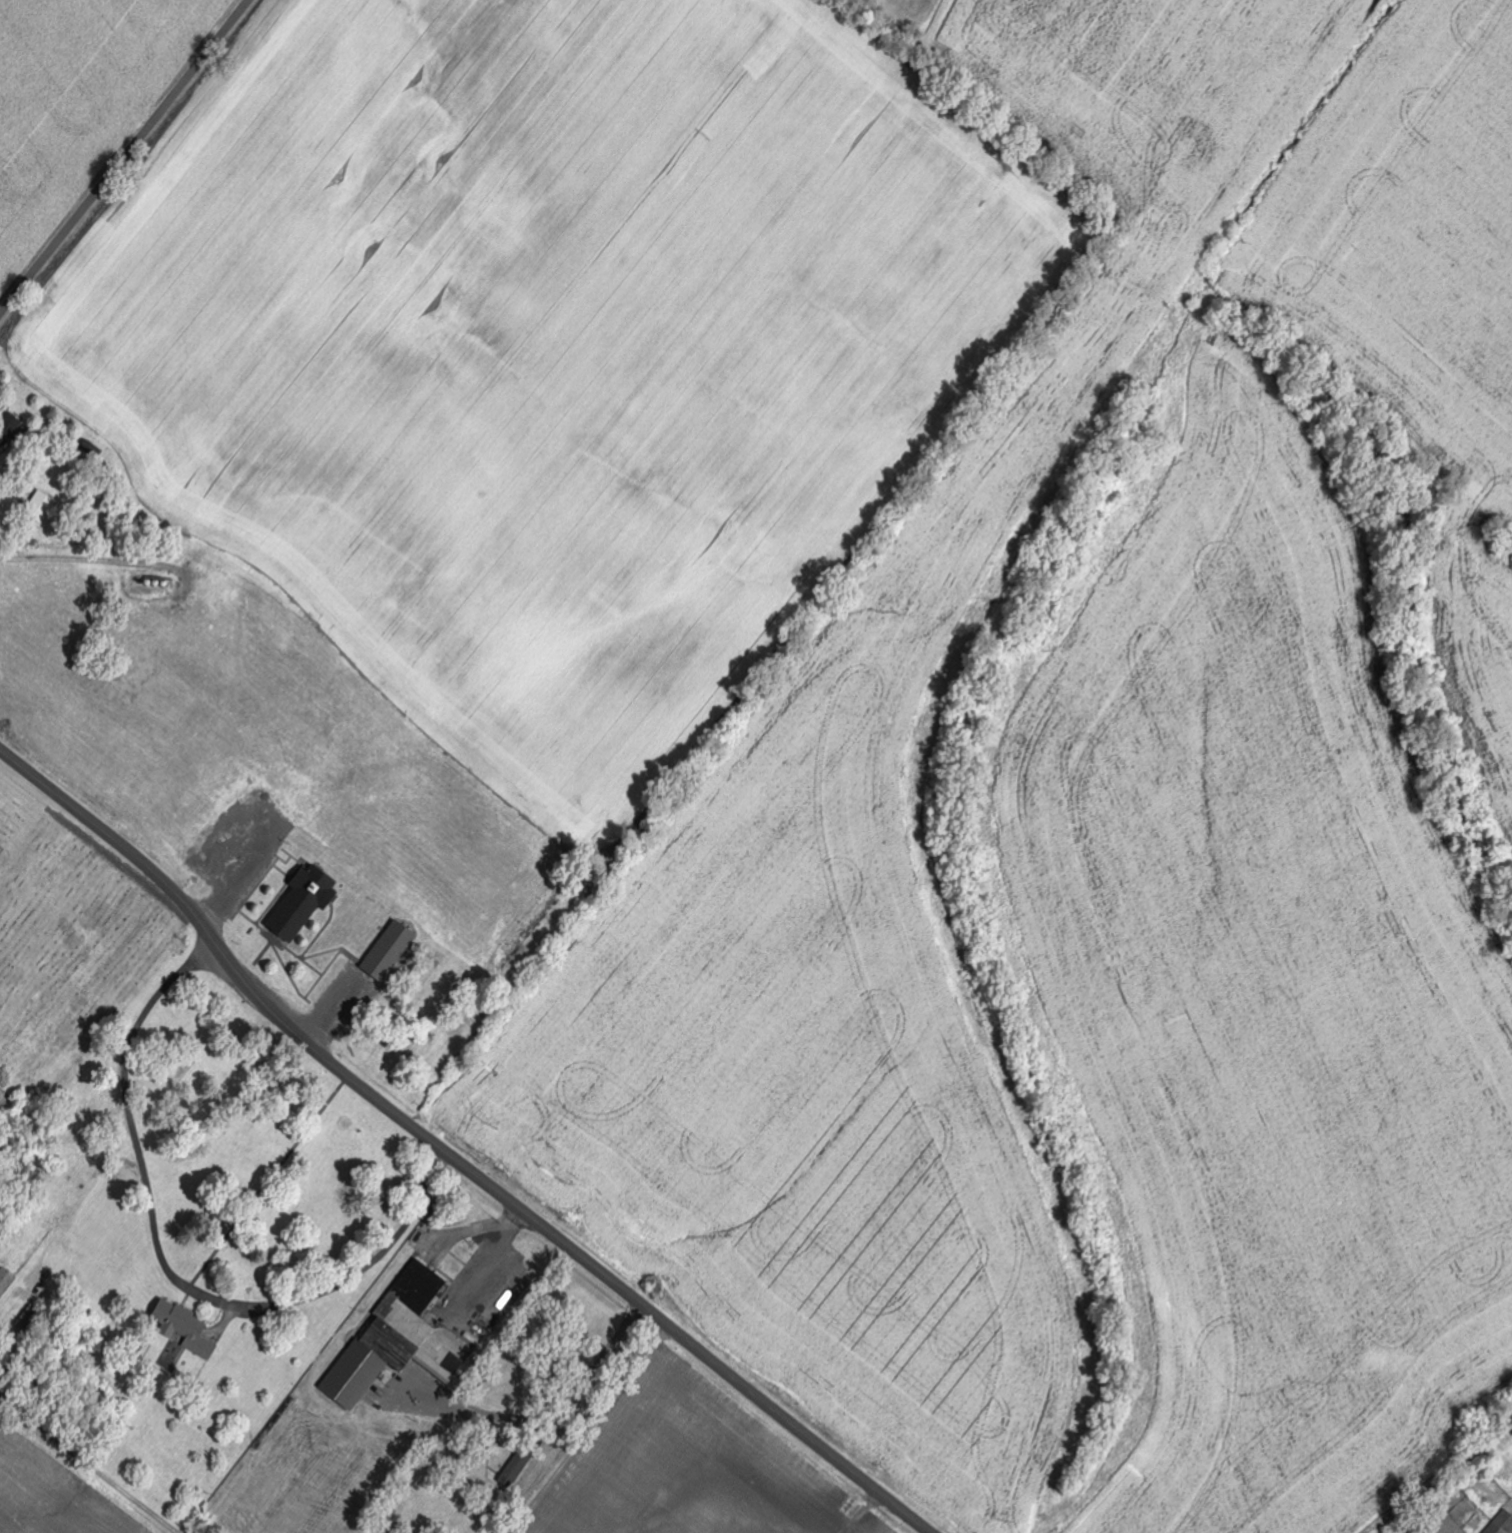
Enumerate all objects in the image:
road: (124, 158)
building: (42, 505)
road: (228, 887)
building: (304, 901)
building: (389, 950)
park: (75, 958)
road: (450, 1156)
road: (184, 1278)
building: (185, 1328)
building: (395, 1341)
road: (863, 1513)

